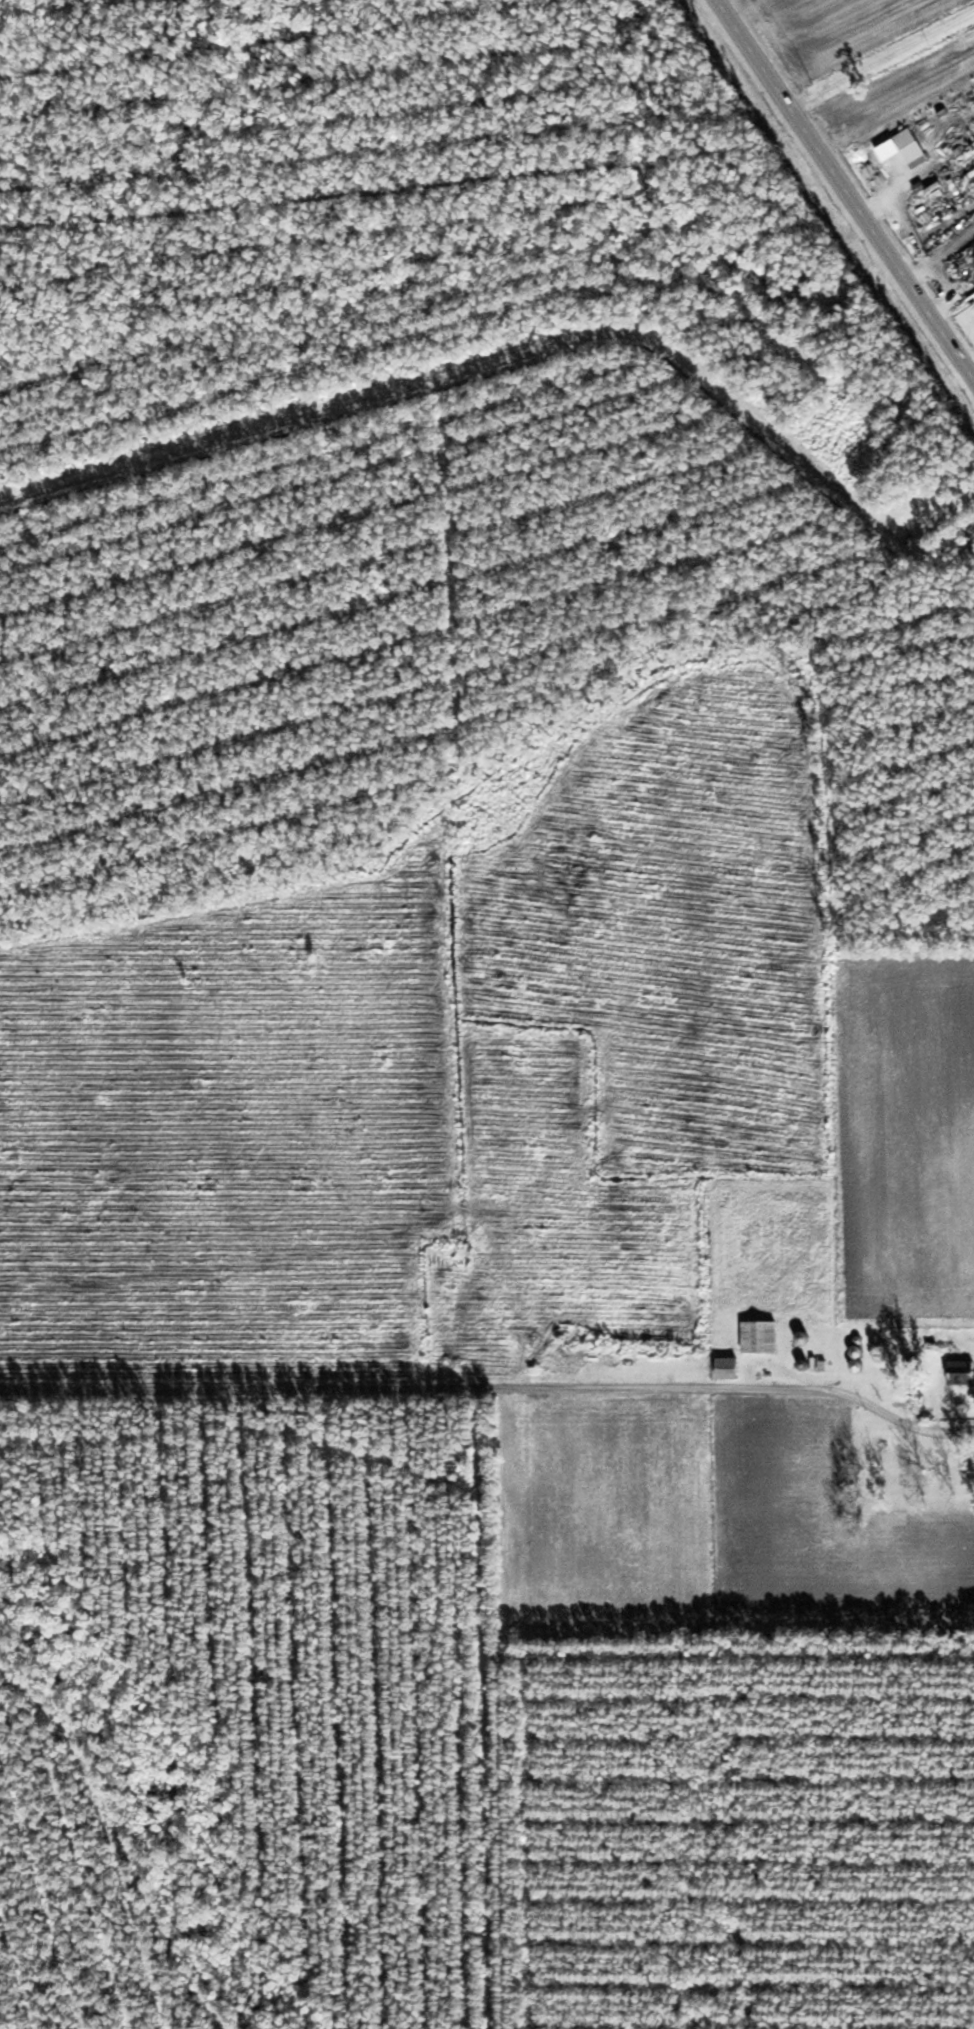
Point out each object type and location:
road: (847, 185)
building: (764, 1337)
building: (962, 1373)

